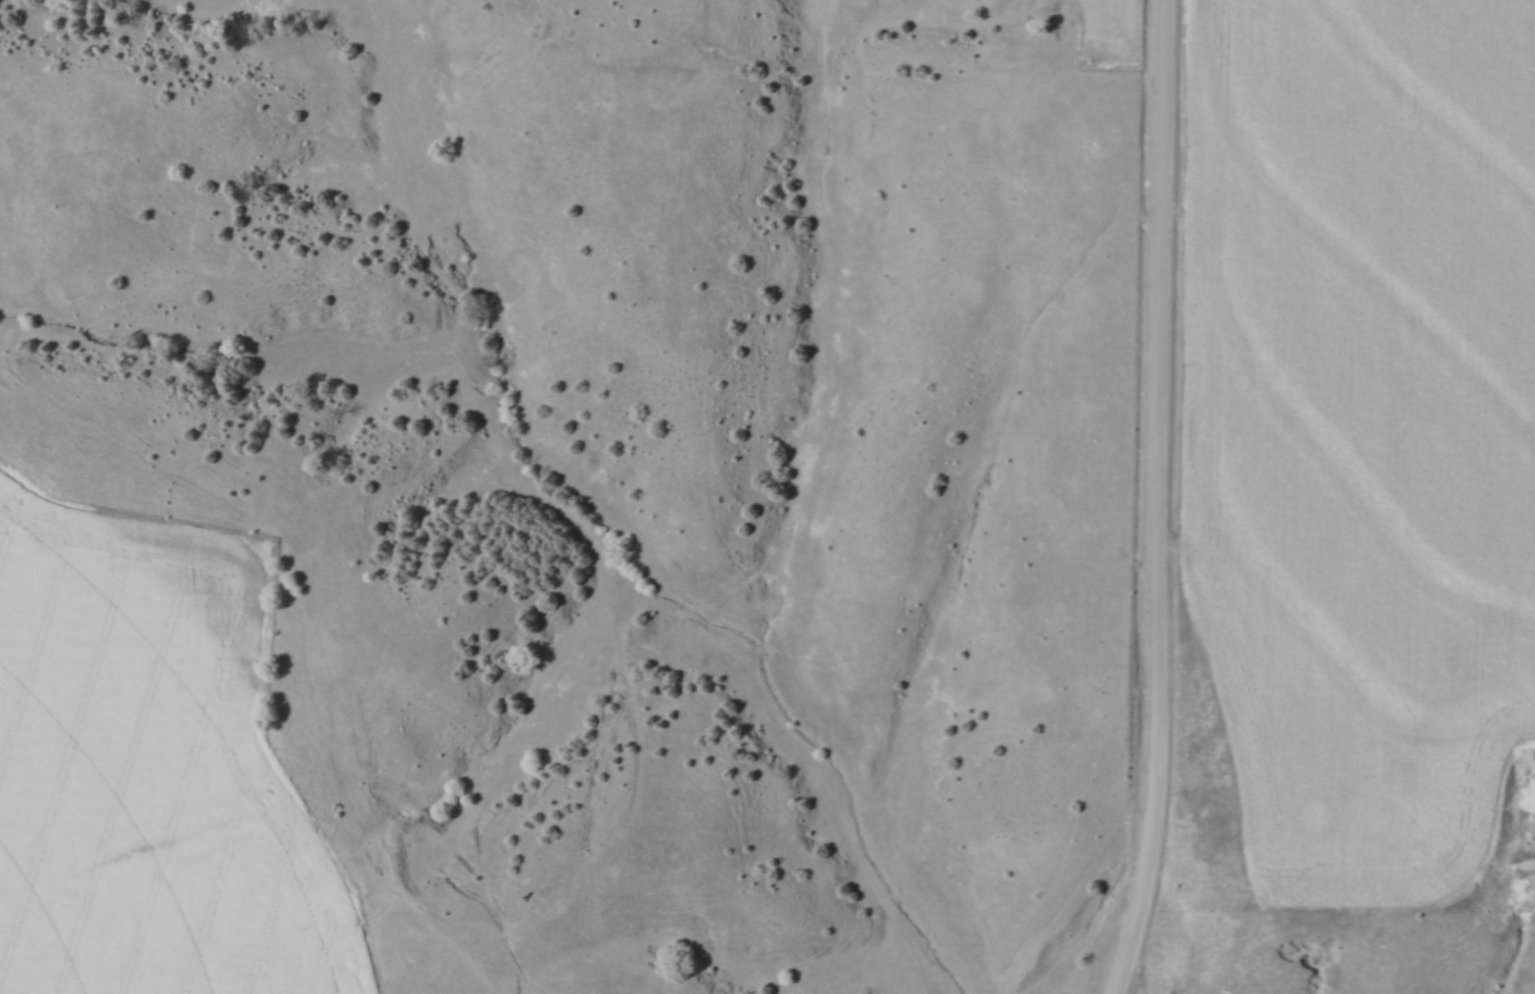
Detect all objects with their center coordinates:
road: (1156, 499)

